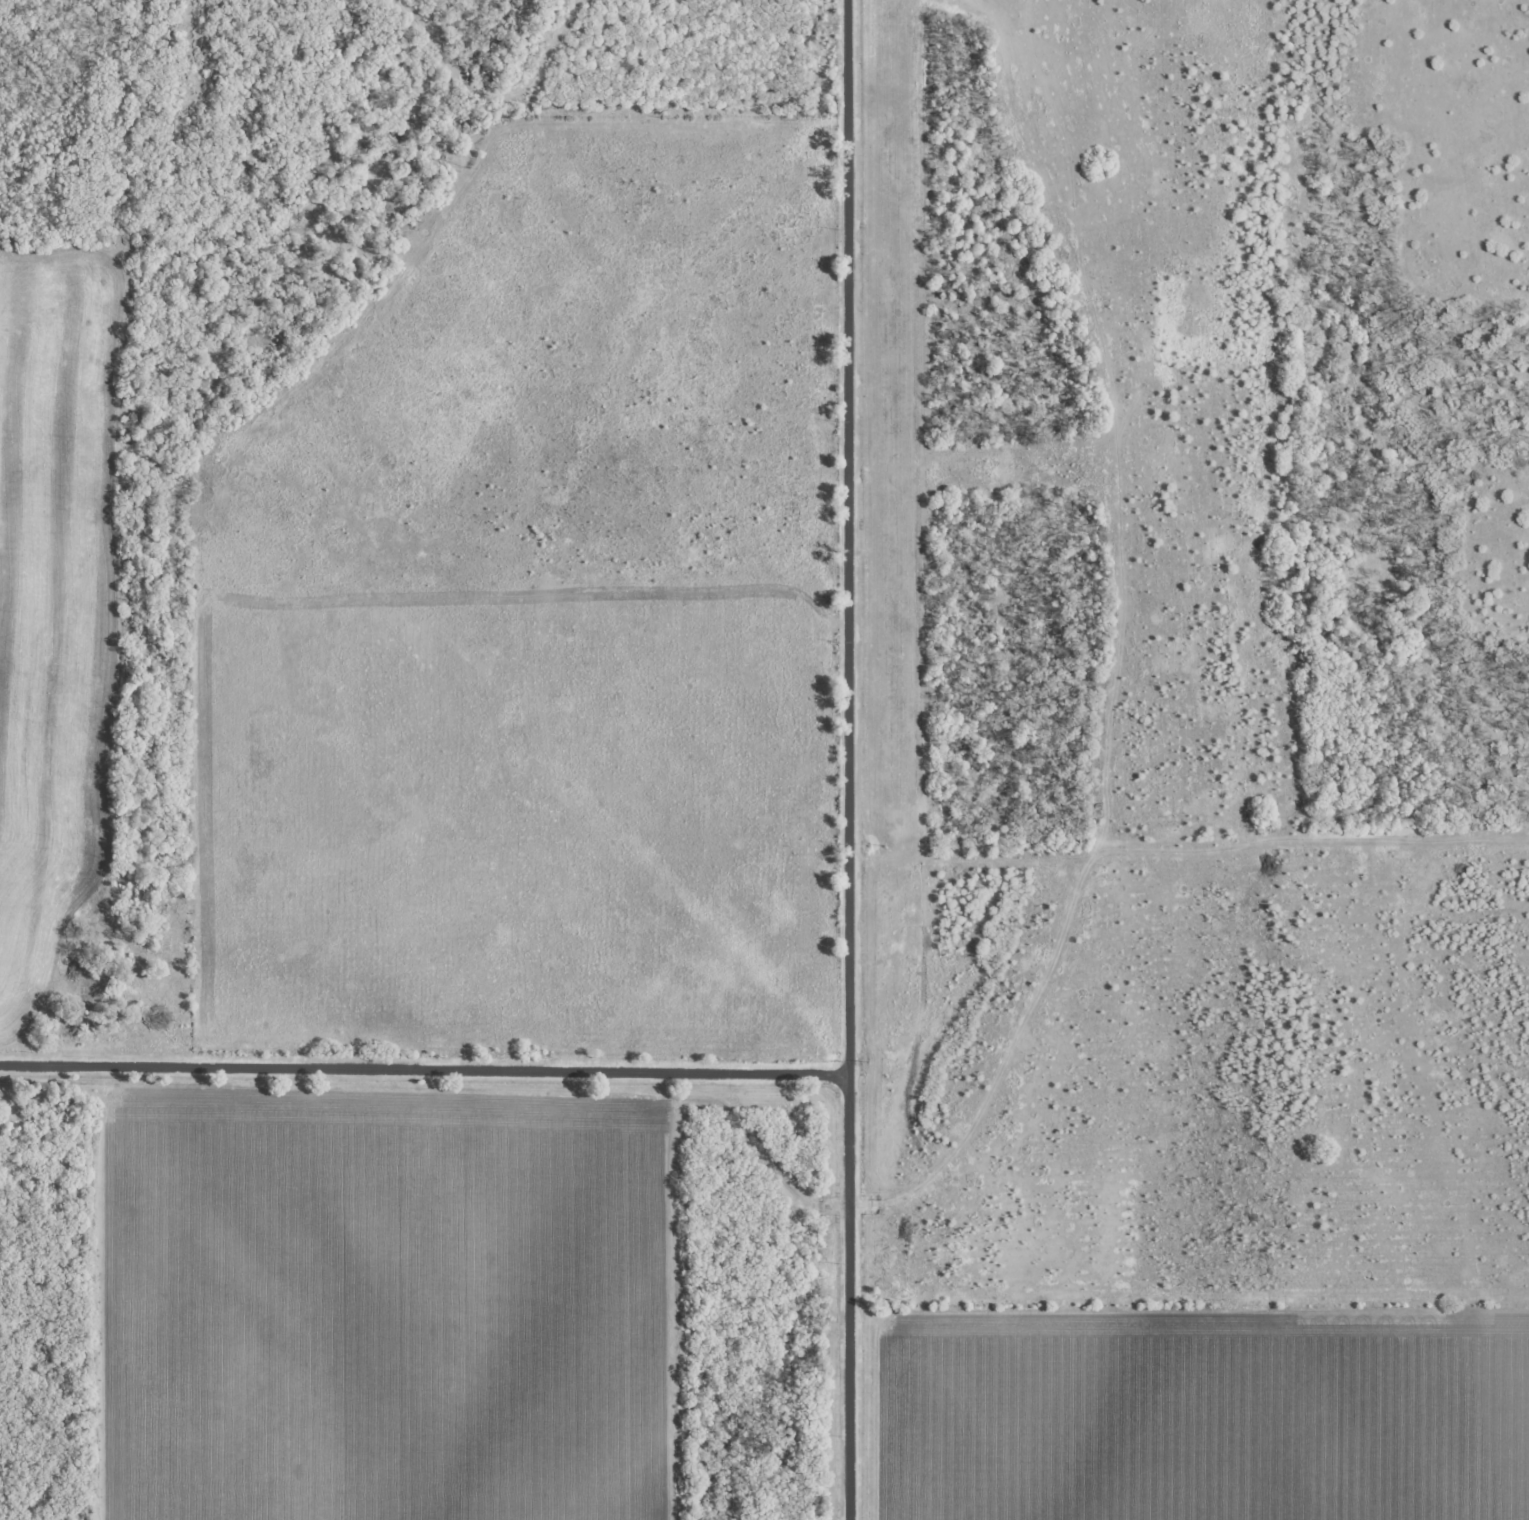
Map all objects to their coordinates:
road: (851, 760)
road: (425, 1070)

